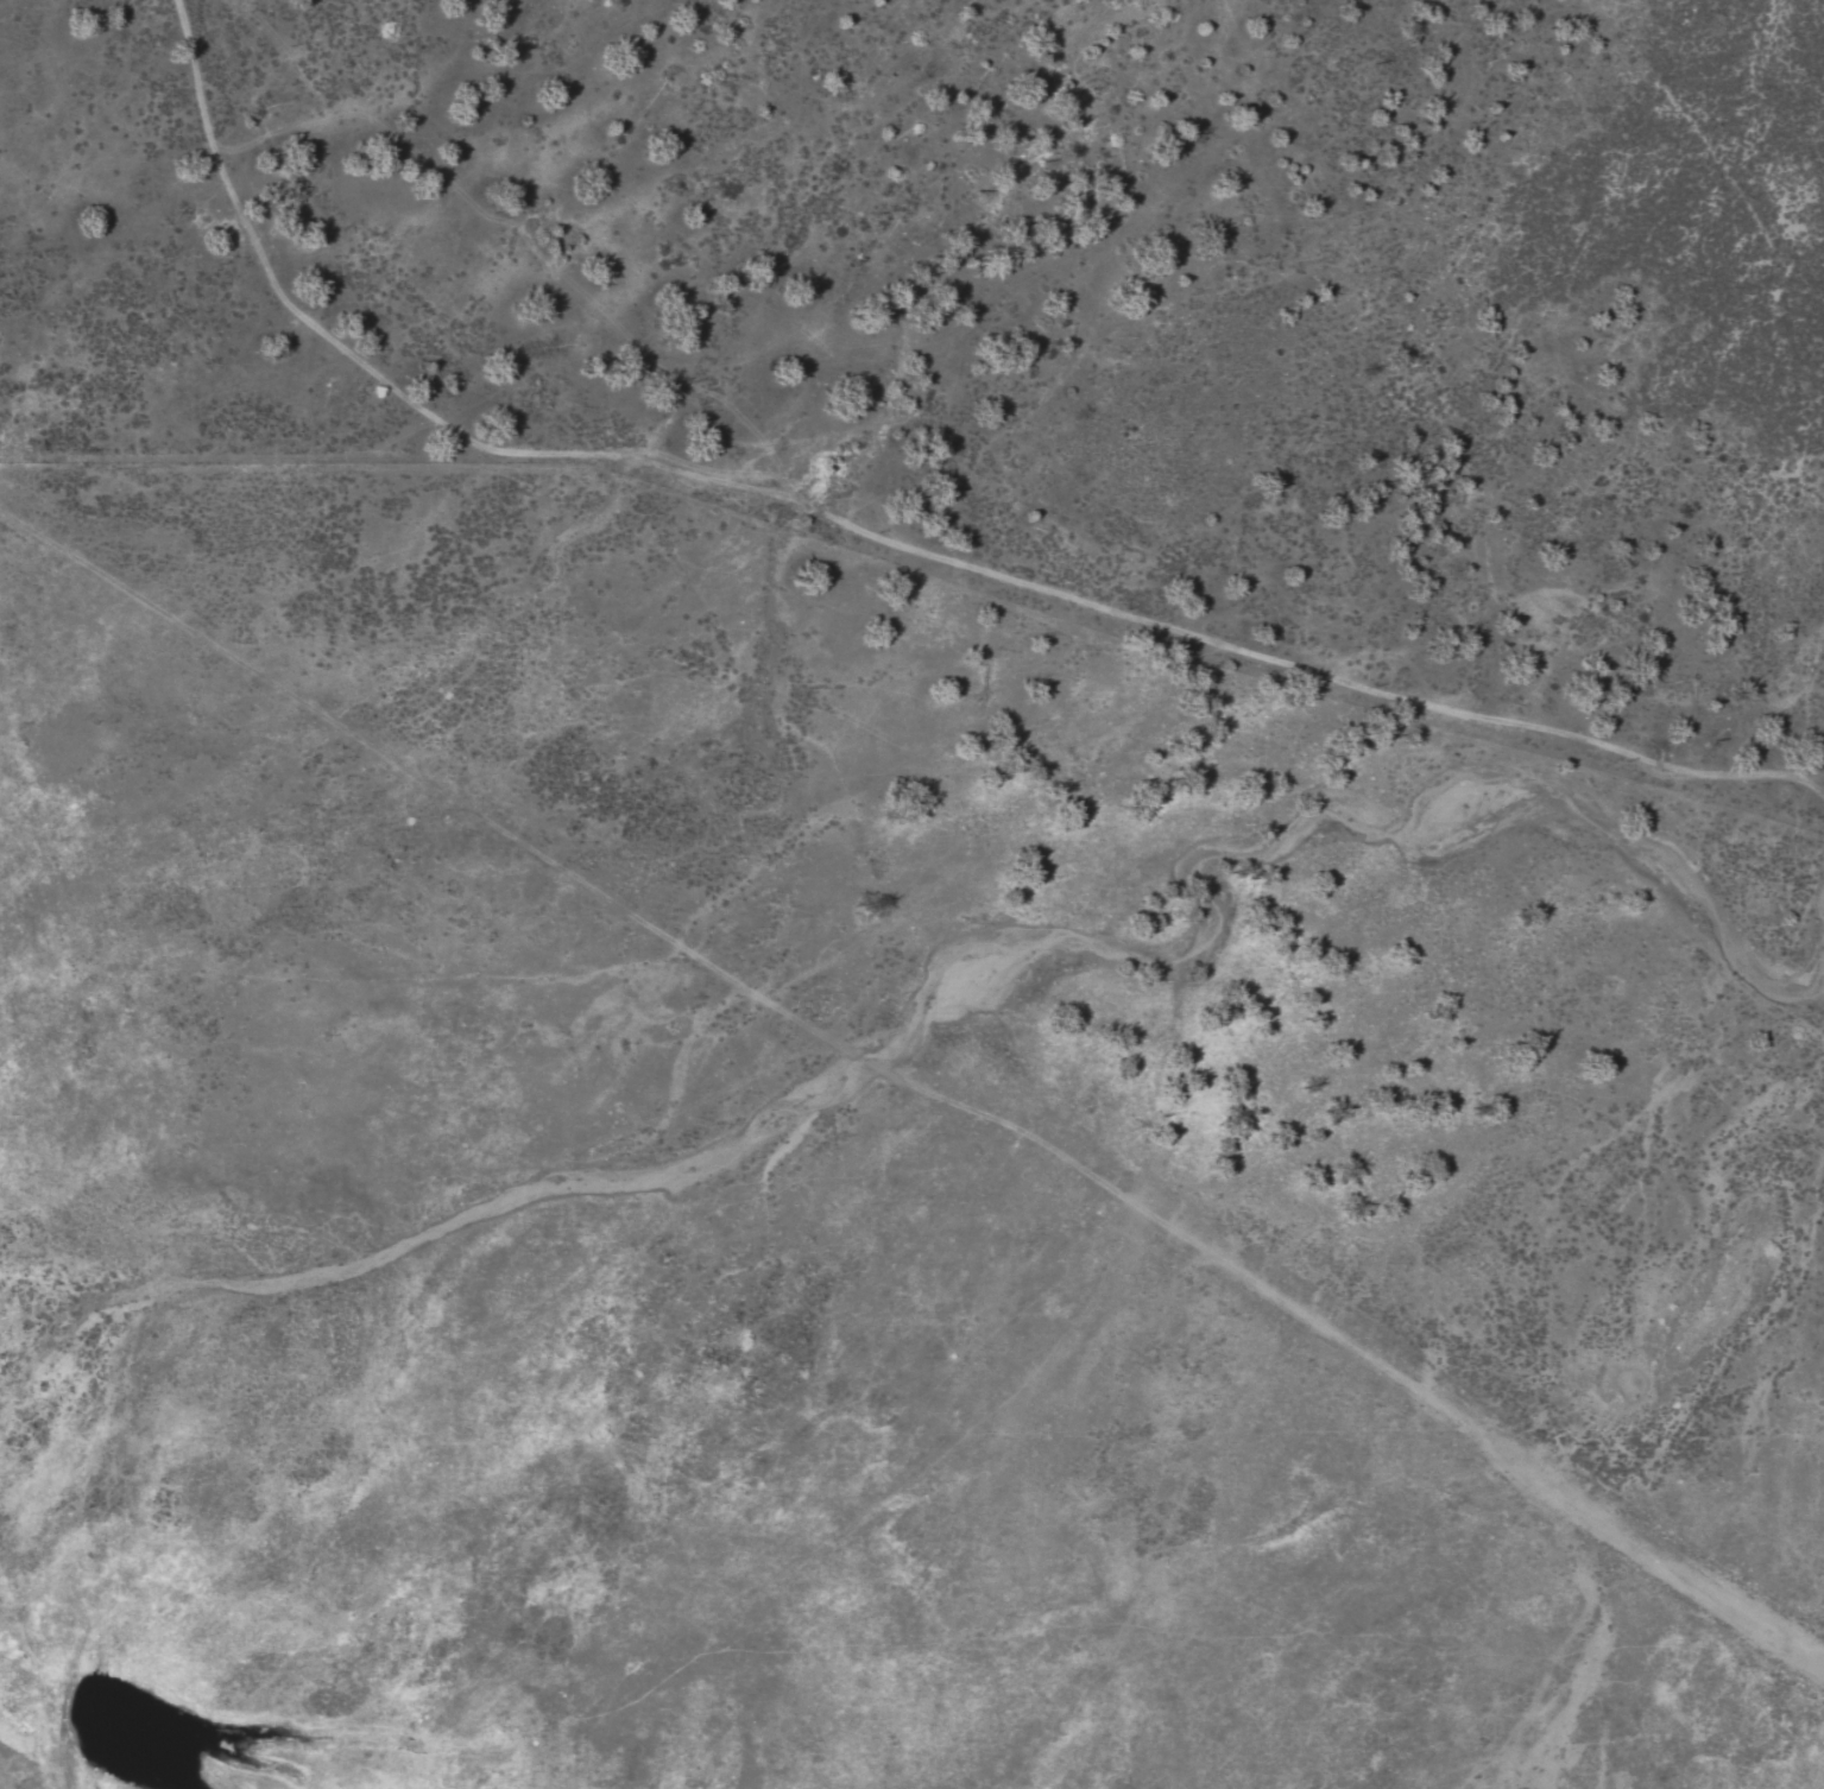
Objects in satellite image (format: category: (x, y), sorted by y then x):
road: (879, 537)

